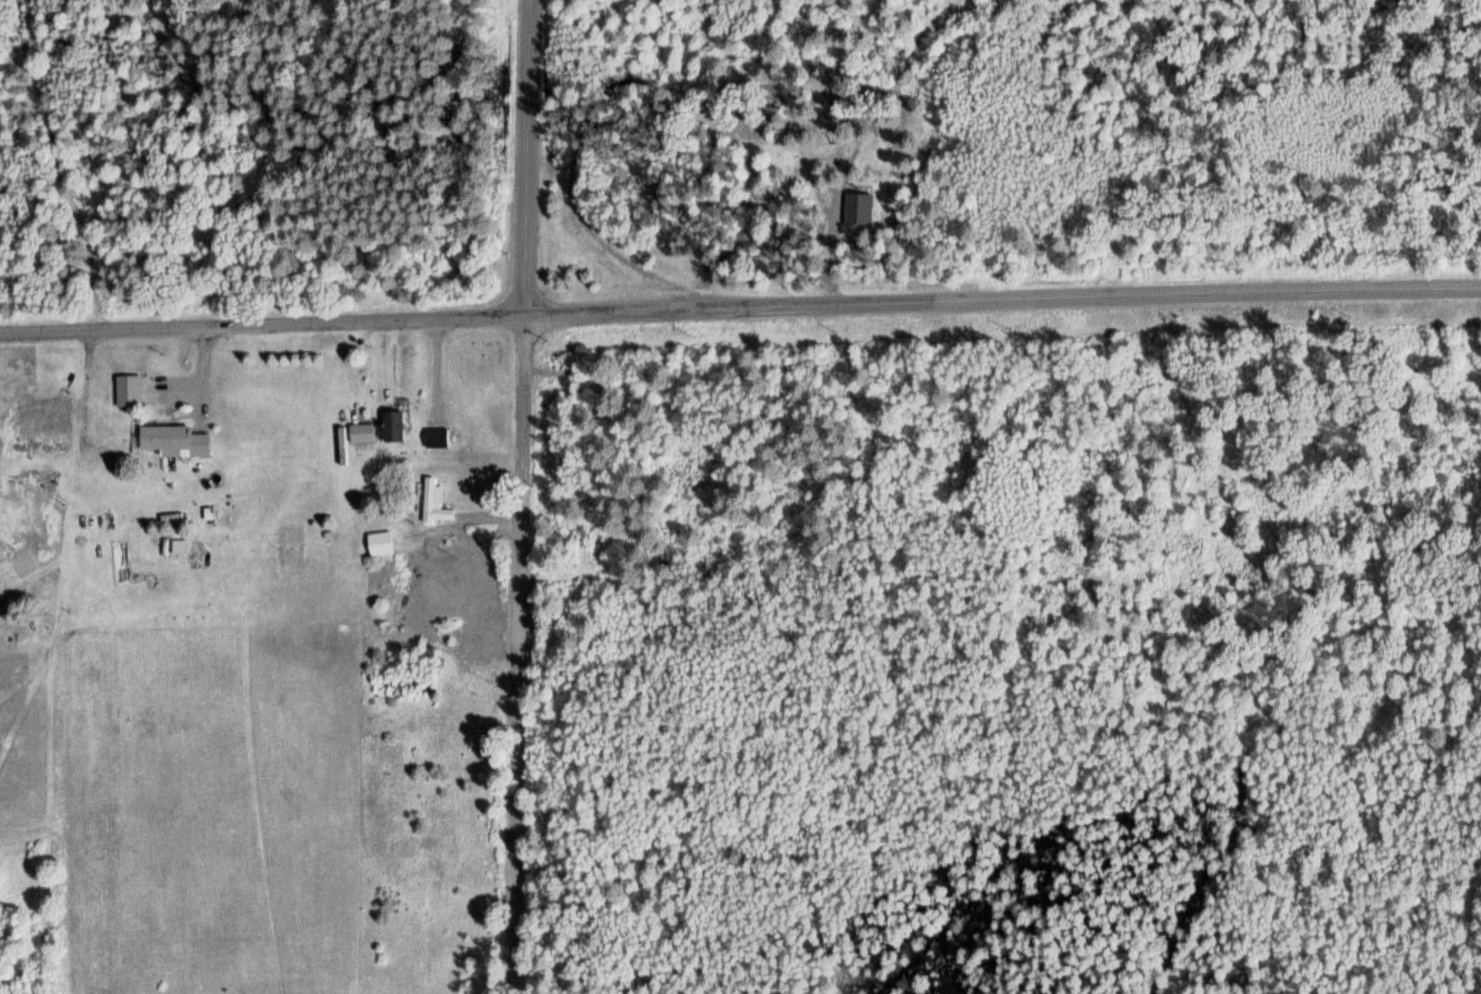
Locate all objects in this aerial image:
road: (525, 155)
road: (1002, 298)
road: (262, 324)
road: (437, 359)
road: (201, 382)
building: (133, 390)
road: (199, 403)
building: (395, 425)
building: (434, 438)
building: (175, 440)
building: (435, 502)
building: (380, 543)
building: (179, 545)
road: (519, 653)

